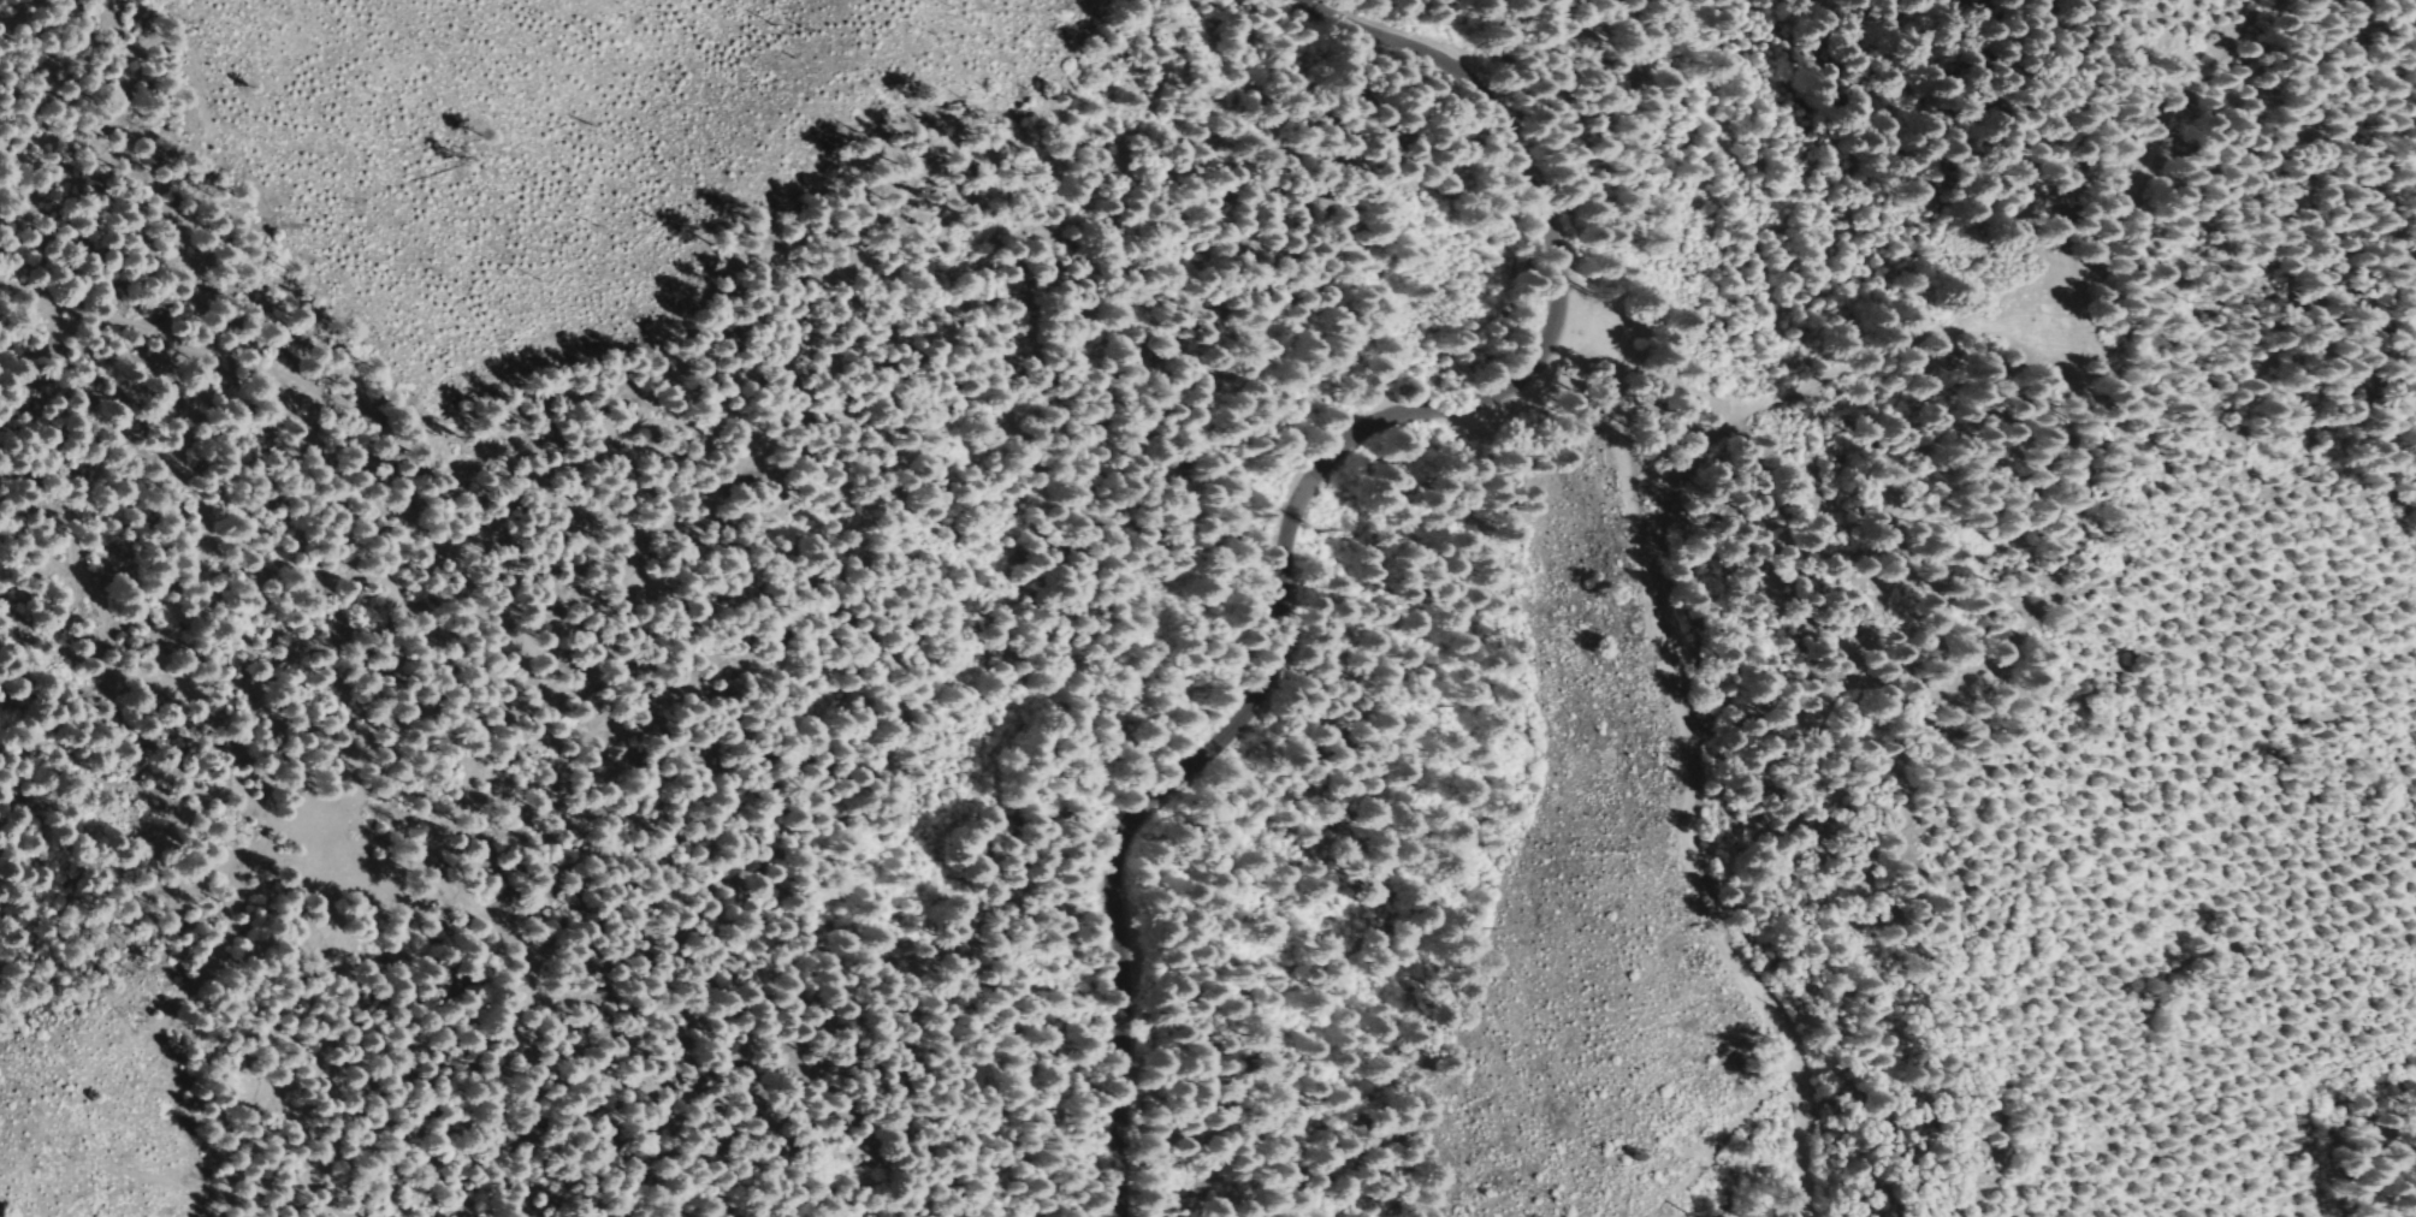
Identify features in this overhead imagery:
road: (70, 192)
road: (1302, 499)

